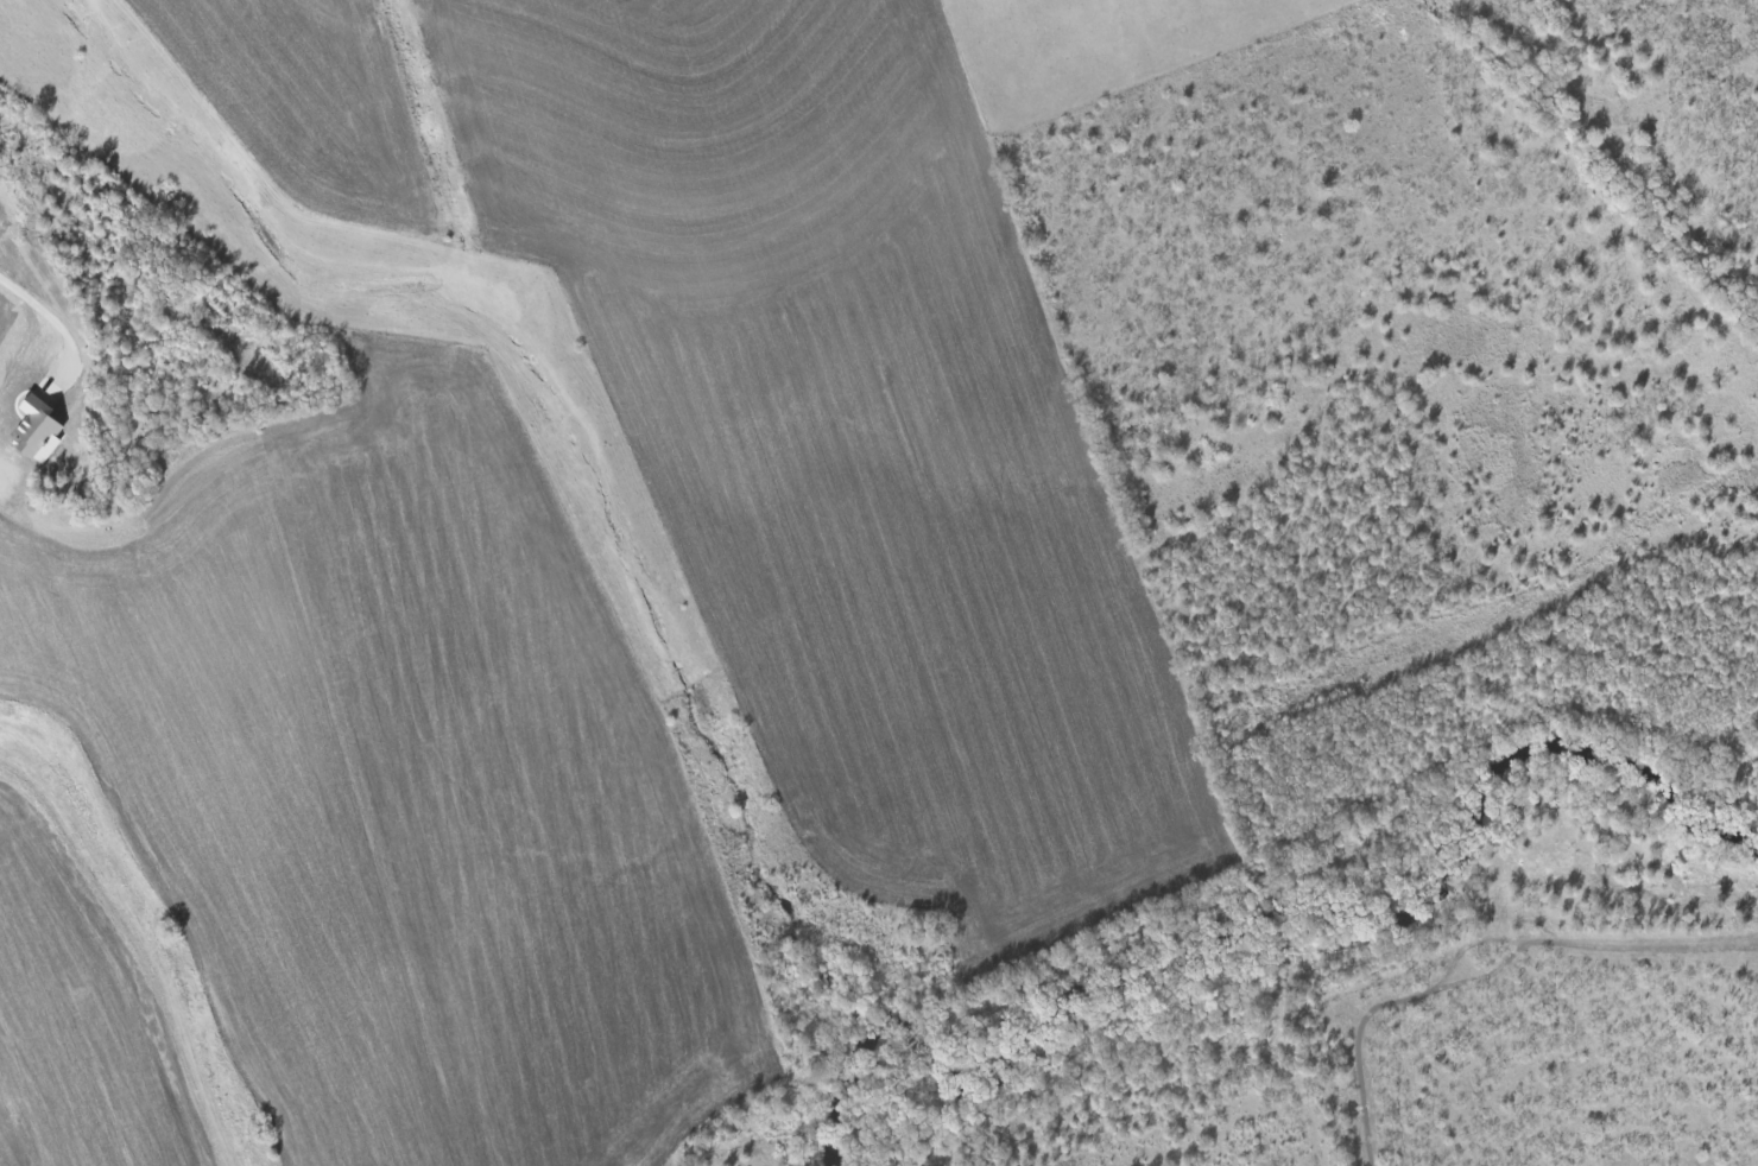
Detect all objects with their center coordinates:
road: (63, 332)
building: (37, 430)

